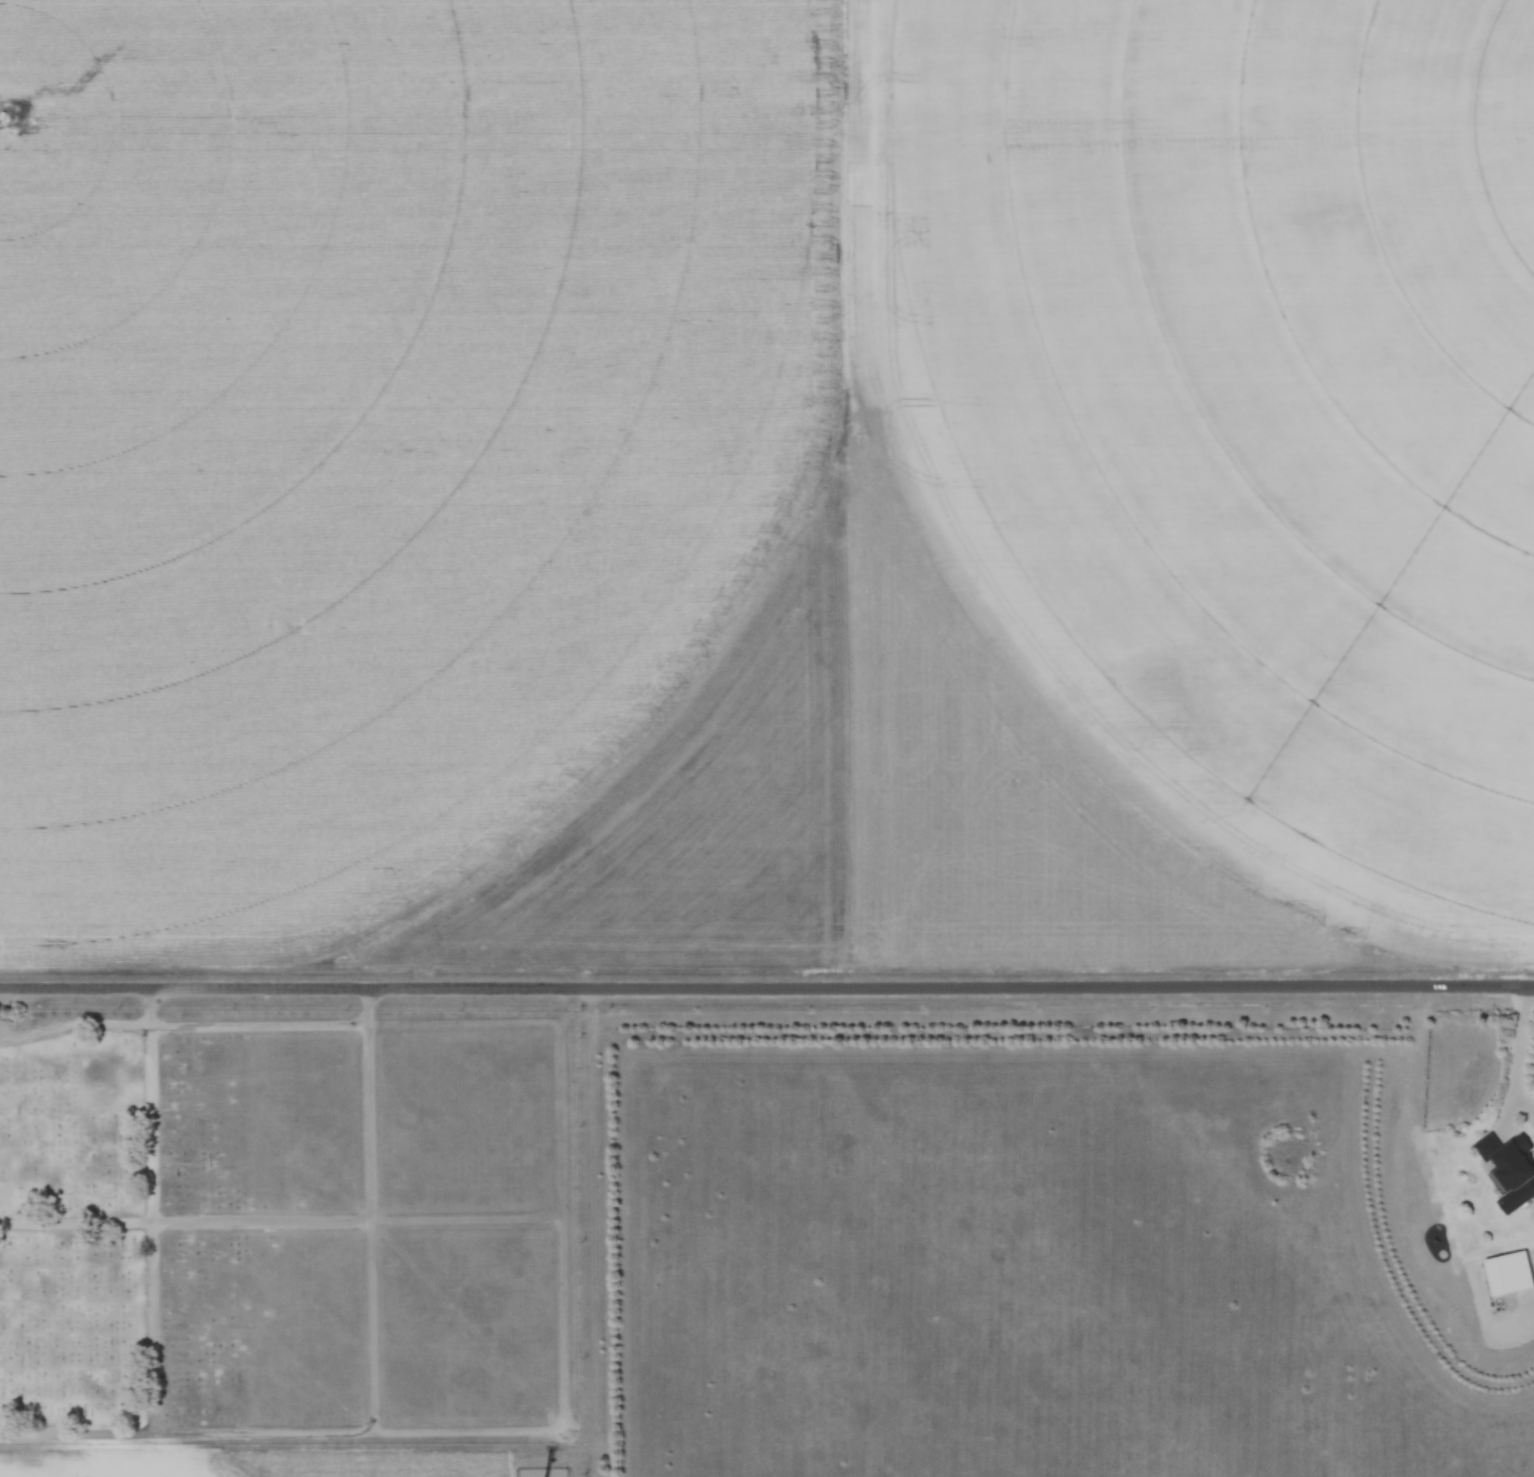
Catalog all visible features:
road: (767, 992)
road: (71, 1026)
road: (1522, 1062)
building: (1511, 1174)
road: (75, 1222)
park: (290, 1229)
building: (1507, 1274)
road: (153, 1287)

